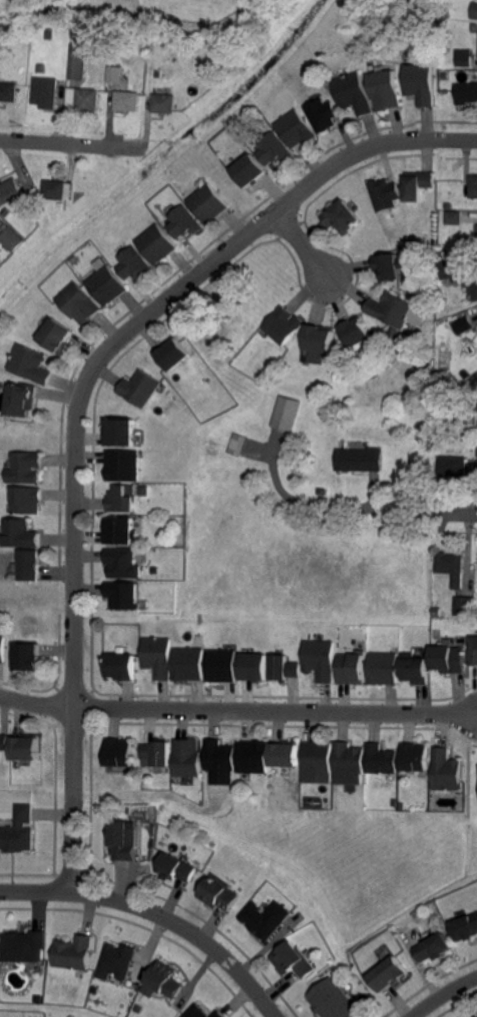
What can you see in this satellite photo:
building: (475, 12)
building: (20, 24)
building: (475, 29)
building: (103, 34)
building: (48, 35)
building: (78, 38)
building: (466, 58)
building: (77, 62)
building: (39, 67)
building: (115, 73)
building: (158, 73)
building: (445, 74)
building: (422, 84)
building: (45, 90)
building: (8, 91)
building: (386, 91)
building: (355, 93)
building: (467, 93)
building: (83, 97)
building: (127, 100)
building: (164, 103)
building: (325, 115)
building: (297, 130)
road: (74, 144)
building: (275, 150)
building: (252, 170)
building: (419, 186)
building: (474, 186)
building: (57, 189)
building: (10, 191)
building: (386, 194)
building: (209, 203)
building: (62, 205)
building: (32, 207)
building: (342, 217)
building: (454, 217)
building: (185, 222)
building: (11, 237)
building: (475, 238)
building: (159, 244)
road: (308, 250)
building: (440, 252)
building: (135, 264)
building: (390, 267)
building: (448, 269)
building: (471, 282)
building: (107, 285)
building: (80, 303)
building: (391, 310)
building: (284, 325)
building: (462, 325)
building: (355, 332)
building: (58, 336)
building: (318, 338)
building: (173, 355)
building: (33, 364)
building: (464, 374)
building: (139, 389)
building: (24, 400)
road: (84, 403)
building: (285, 412)
building: (442, 420)
building: (123, 432)
building: (237, 443)
building: (466, 447)
building: (361, 459)
building: (124, 465)
building: (26, 466)
building: (452, 467)
building: (476, 474)
building: (145, 491)
building: (323, 491)
building: (123, 498)
building: (29, 499)
road: (455, 514)
building: (121, 530)
building: (23, 534)
building: (124, 563)
building: (32, 565)
building: (451, 567)
building: (124, 594)
building: (464, 605)
building: (437, 612)
building: (2, 648)
building: (474, 651)
building: (156, 655)
building: (28, 657)
building: (319, 659)
building: (448, 659)
building: (187, 664)
building: (221, 665)
building: (121, 667)
building: (254, 667)
building: (285, 668)
building: (384, 668)
building: (351, 669)
building: (415, 670)
road: (38, 707)
road: (276, 716)
building: (0, 731)
building: (3, 743)
building: (25, 748)
building: (117, 752)
building: (157, 753)
building: (283, 755)
building: (219, 756)
building: (252, 757)
building: (317, 757)
building: (414, 757)
building: (186, 758)
building: (347, 759)
building: (380, 759)
building: (446, 770)
building: (17, 830)
building: (122, 838)
building: (174, 868)
building: (217, 894)
building: (264, 917)
road: (155, 918)
building: (466, 927)
building: (23, 945)
building: (434, 948)
building: (73, 951)
building: (117, 960)
building: (292, 960)
building: (390, 974)
building: (164, 978)
road: (446, 995)
building: (332, 1000)
building: (196, 1012)
building: (218, 1014)
building: (476, 1016)

